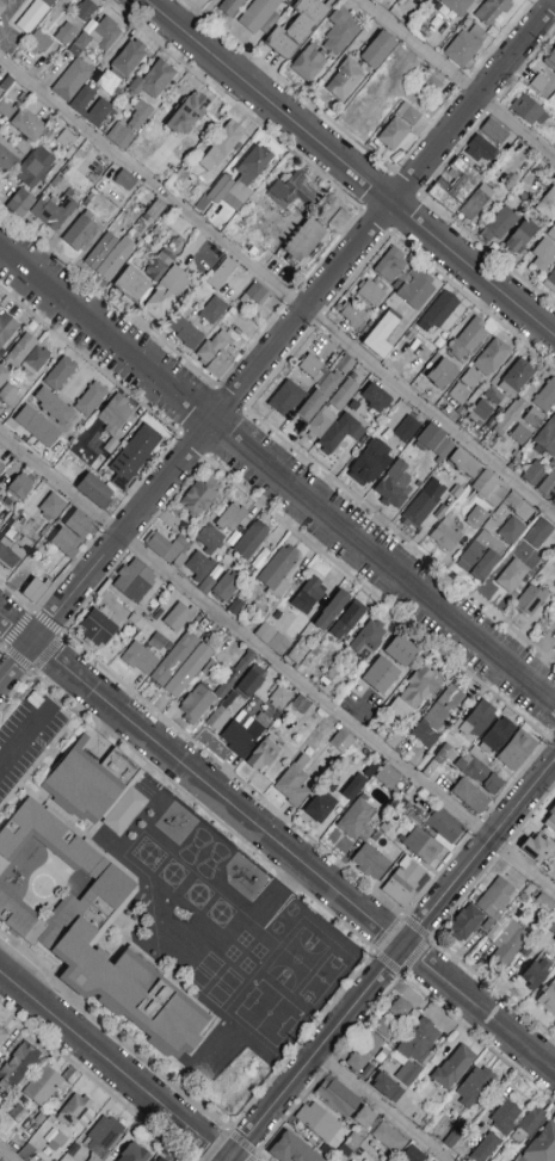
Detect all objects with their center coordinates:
building: (458, 6)
building: (1, 7)
building: (230, 7)
building: (85, 11)
building: (501, 13)
building: (33, 14)
building: (260, 16)
building: (295, 29)
building: (339, 31)
building: (63, 33)
building: (106, 33)
building: (41, 41)
building: (80, 44)
building: (462, 49)
building: (378, 50)
building: (128, 60)
building: (550, 60)
building: (312, 63)
building: (554, 75)
road: (457, 79)
building: (72, 80)
building: (153, 80)
building: (345, 80)
building: (7, 82)
building: (430, 84)
building: (538, 84)
building: (101, 109)
building: (5, 110)
building: (526, 110)
building: (187, 113)
building: (409, 113)
building: (29, 125)
building: (130, 126)
building: (493, 132)
building: (394, 138)
building: (66, 140)
building: (224, 142)
building: (480, 149)
building: (8, 159)
building: (253, 165)
building: (35, 167)
road: (350, 168)
building: (183, 178)
building: (56, 180)
building: (124, 180)
building: (462, 180)
building: (226, 194)
building: (291, 194)
building: (444, 198)
building: (475, 202)
building: (23, 204)
building: (547, 205)
building: (155, 210)
building: (53, 211)
building: (502, 222)
building: (80, 231)
building: (551, 233)
building: (520, 236)
building: (303, 240)
building: (100, 252)
building: (543, 255)
building: (116, 259)
building: (390, 265)
building: (159, 266)
building: (204, 267)
building: (222, 274)
building: (550, 282)
building: (396, 284)
building: (131, 285)
road: (278, 286)
building: (415, 290)
building: (166, 292)
building: (372, 292)
building: (255, 294)
building: (440, 309)
building: (212, 310)
building: (353, 315)
building: (6, 327)
building: (185, 332)
building: (381, 335)
building: (468, 341)
road: (278, 342)
building: (212, 347)
building: (20, 351)
building: (0, 358)
building: (492, 358)
building: (35, 360)
building: (218, 365)
building: (312, 368)
building: (4, 373)
building: (60, 373)
building: (443, 375)
building: (516, 377)
building: (471, 379)
building: (458, 394)
building: (8, 395)
building: (320, 395)
building: (344, 395)
building: (494, 396)
building: (545, 396)
building: (91, 399)
building: (286, 399)
building: (376, 399)
building: (354, 406)
building: (54, 407)
building: (481, 413)
building: (113, 415)
building: (510, 416)
building: (532, 418)
building: (320, 422)
building: (37, 426)
building: (407, 430)
building: (340, 432)
building: (520, 436)
building: (430, 438)
building: (548, 438)
building: (111, 445)
building: (444, 449)
building: (132, 456)
building: (522, 456)
building: (370, 463)
building: (463, 463)
building: (1, 467)
building: (535, 474)
road: (277, 476)
building: (20, 486)
building: (394, 486)
building: (548, 486)
building: (488, 489)
building: (95, 490)
building: (455, 493)
building: (199, 496)
building: (553, 501)
building: (0, 502)
building: (425, 502)
building: (53, 507)
building: (514, 507)
building: (5, 512)
building: (232, 518)
building: (434, 518)
building: (476, 518)
building: (80, 525)
building: (489, 526)
building: (511, 531)
building: (11, 533)
building: (539, 533)
building: (445, 535)
building: (210, 539)
building: (251, 539)
building: (66, 543)
building: (166, 546)
building: (10, 554)
building: (480, 556)
building: (180, 560)
building: (199, 566)
building: (278, 572)
building: (511, 575)
building: (137, 582)
building: (205, 585)
building: (224, 588)
building: (35, 589)
building: (308, 595)
building: (530, 599)
building: (235, 607)
building: (331, 610)
road: (33, 613)
building: (178, 617)
building: (136, 620)
building: (347, 620)
building: (99, 628)
building: (368, 638)
building: (272, 640)
building: (168, 646)
road: (2, 650)
building: (401, 650)
building: (298, 651)
building: (138, 657)
building: (174, 659)
road: (276, 667)
building: (306, 667)
building: (189, 671)
building: (234, 674)
building: (331, 674)
building: (381, 674)
building: (249, 683)
building: (415, 693)
building: (279, 698)
building: (230, 699)
building: (196, 705)
building: (300, 705)
building: (437, 717)
building: (218, 718)
building: (474, 723)
building: (245, 733)
building: (495, 736)
road: (23, 737)
parking lot: (26, 739)
building: (341, 741)
building: (517, 751)
building: (264, 753)
building: (480, 756)
building: (440, 764)
building: (480, 774)
road: (233, 776)
building: (388, 777)
building: (294, 782)
building: (353, 786)
building: (95, 788)
building: (332, 788)
building: (470, 796)
building: (320, 807)
building: (407, 810)
building: (357, 820)
building: (550, 822)
building: (444, 826)
road: (277, 842)
building: (423, 846)
building: (537, 848)
building: (371, 863)
building: (409, 877)
building: (397, 894)
building: (495, 898)
building: (544, 902)
road: (403, 918)
building: (467, 924)
building: (551, 930)
building: (94, 932)
building: (505, 941)
road: (391, 961)
road: (362, 968)
building: (536, 974)
building: (548, 998)
building: (400, 1009)
building: (415, 1014)
building: (387, 1026)
building: (2, 1036)
building: (420, 1042)
building: (371, 1044)
building: (357, 1061)
road: (329, 1064)
building: (18, 1066)
road: (113, 1066)
building: (384, 1067)
building: (406, 1067)
building: (452, 1068)
building: (67, 1073)
road: (94, 1082)
building: (43, 1086)
building: (474, 1086)
building: (388, 1087)
building: (337, 1097)
building: (1, 1107)
road: (380, 1107)
building: (19, 1108)
building: (74, 1110)
building: (505, 1117)
building: (364, 1118)
building: (317, 1122)
building: (32, 1123)
building: (528, 1125)
road: (230, 1132)
building: (103, 1136)
building: (452, 1137)
building: (389, 1138)
building: (60, 1140)
building: (352, 1143)
building: (53, 1145)
building: (542, 1145)
building: (485, 1148)
building: (291, 1149)
building: (72, 1153)
building: (132, 1153)
road: (6, 1155)
building: (413, 1155)
building: (343, 1157)
building: (93, 1159)
building: (160, 1159)
building: (495, 1159)
building: (519, 1159)
building: (347, 1160)

